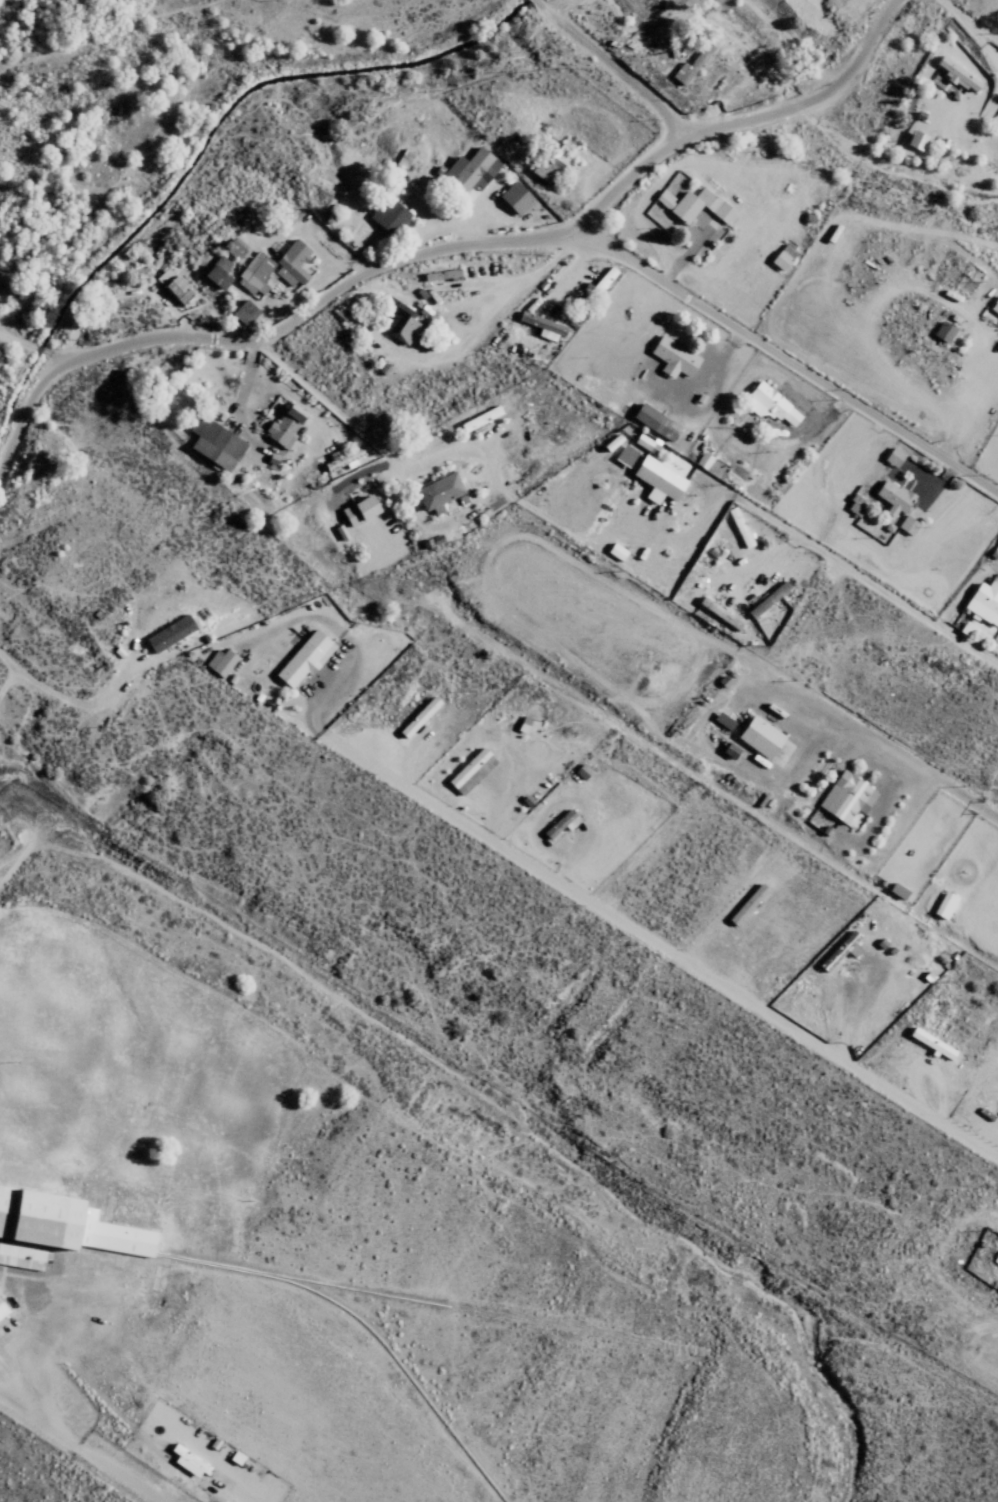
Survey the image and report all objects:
road: (849, 28)
building: (690, 65)
building: (956, 74)
building: (403, 158)
building: (548, 164)
building: (470, 170)
building: (514, 198)
building: (693, 205)
building: (388, 216)
road: (458, 235)
building: (782, 256)
building: (291, 263)
building: (217, 272)
building: (255, 273)
building: (441, 274)
building: (172, 285)
building: (994, 305)
building: (244, 312)
building: (543, 326)
building: (405, 329)
building: (943, 331)
road: (19, 342)
road: (392, 345)
road: (187, 347)
building: (673, 357)
road: (788, 369)
building: (770, 405)
building: (479, 418)
building: (655, 421)
building: (284, 425)
building: (646, 442)
building: (214, 443)
road: (369, 451)
building: (625, 455)
building: (893, 457)
building: (342, 458)
building: (703, 460)
building: (657, 479)
building: (439, 491)
building: (893, 497)
building: (855, 504)
building: (359, 510)
building: (907, 525)
building: (739, 526)
building: (340, 532)
building: (615, 551)
building: (767, 599)
building: (984, 602)
building: (719, 613)
building: (966, 628)
building: (169, 633)
building: (303, 658)
building: (219, 662)
building: (417, 717)
building: (723, 720)
building: (759, 737)
building: (470, 771)
building: (582, 771)
road: (960, 789)
building: (845, 796)
building: (561, 823)
building: (746, 904)
building: (944, 904)
building: (850, 944)
road: (662, 945)
building: (931, 1042)
building: (56, 1225)
building: (995, 1258)
building: (2, 1309)
road: (947, 1472)

